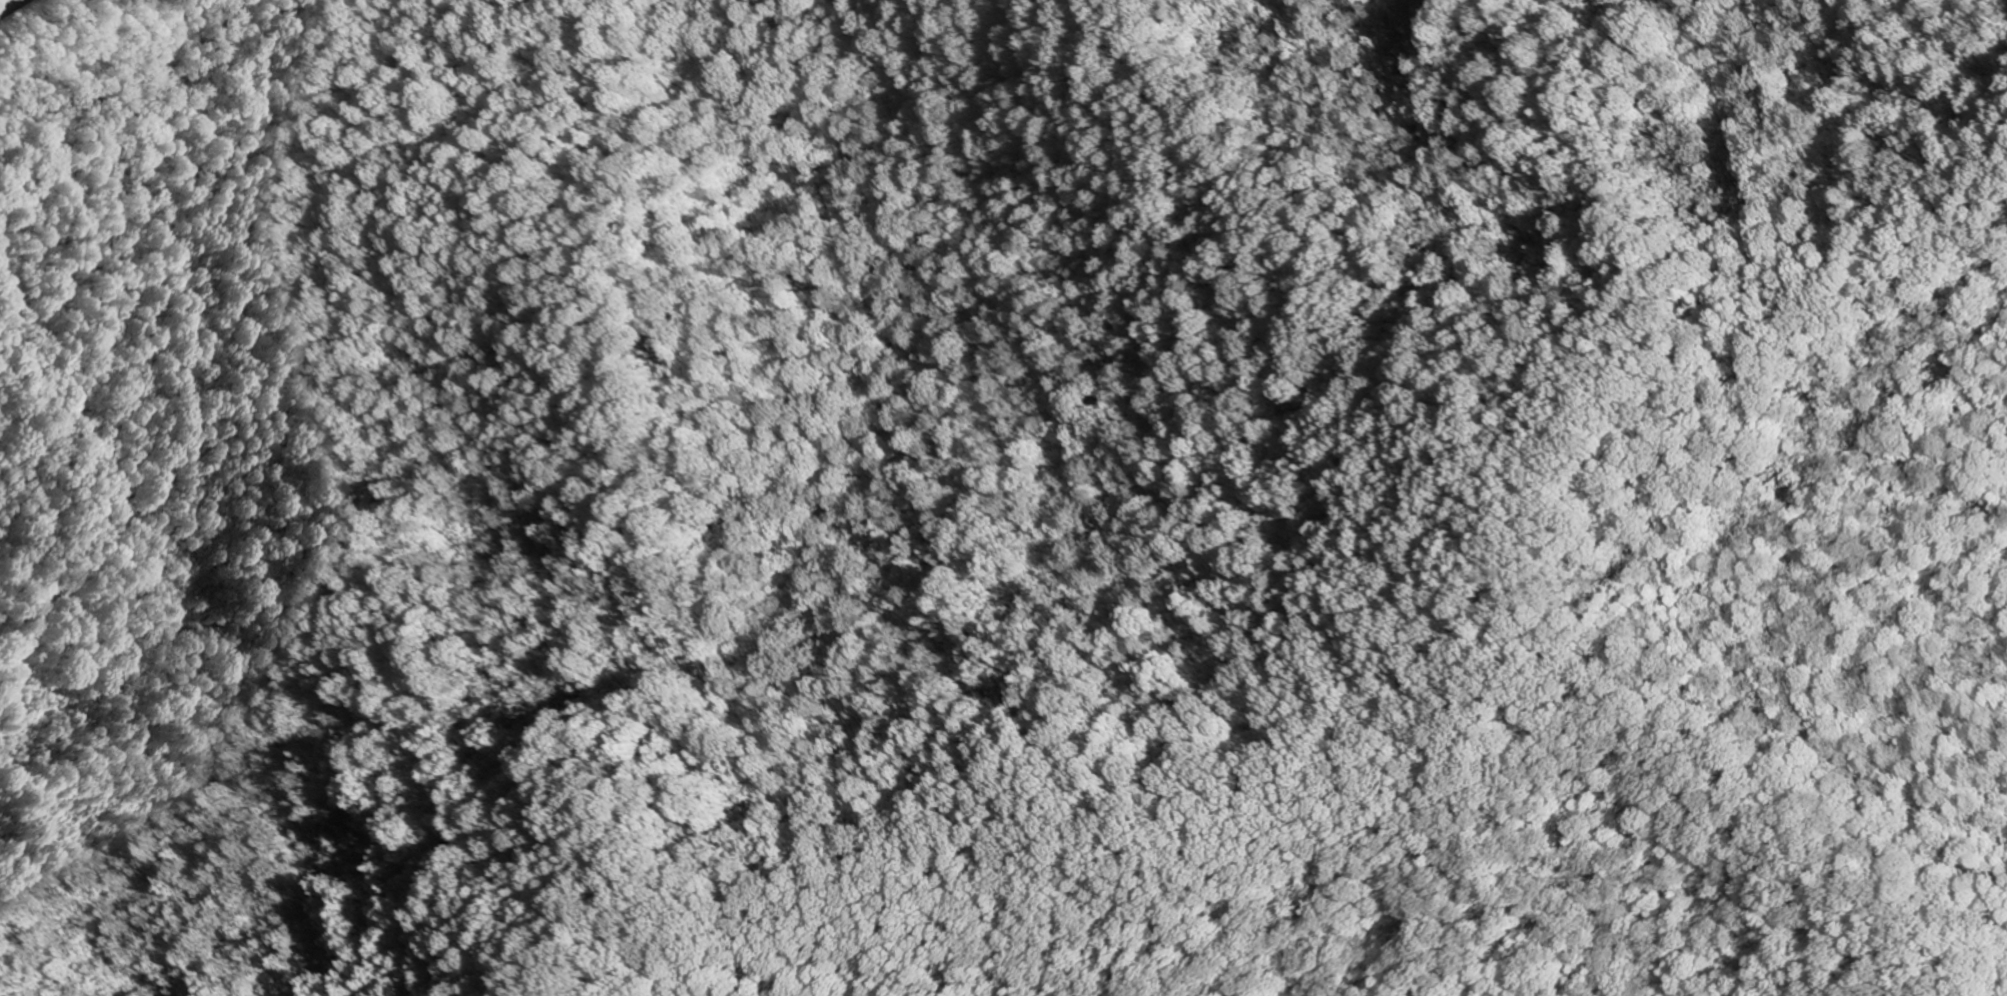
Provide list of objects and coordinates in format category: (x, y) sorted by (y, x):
road: (9, 5)

